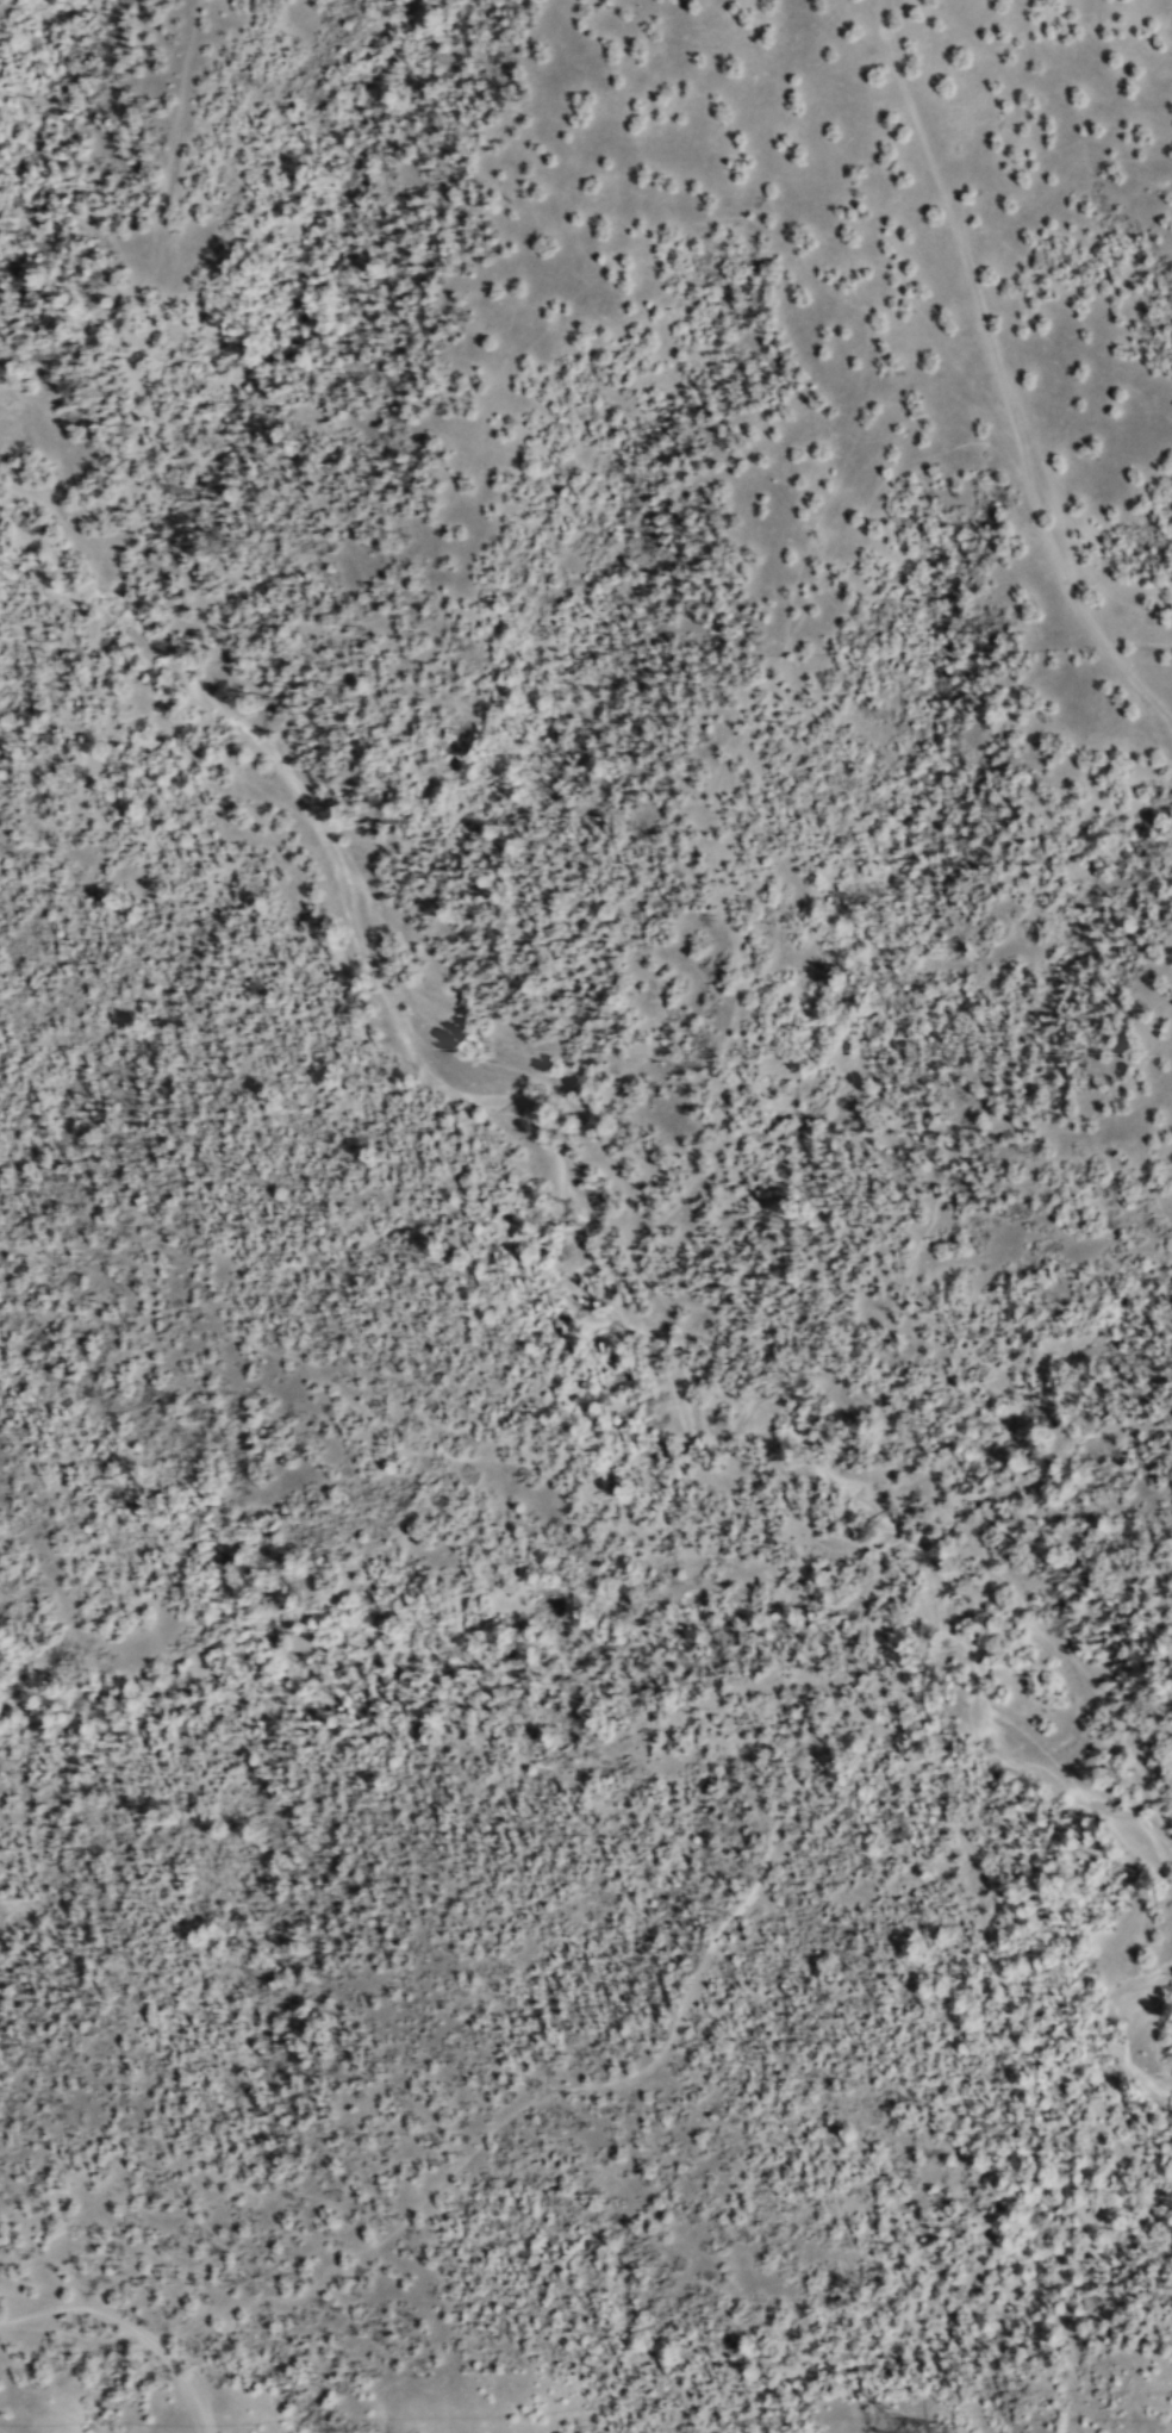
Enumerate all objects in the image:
road: (1002, 375)
road: (130, 2327)

